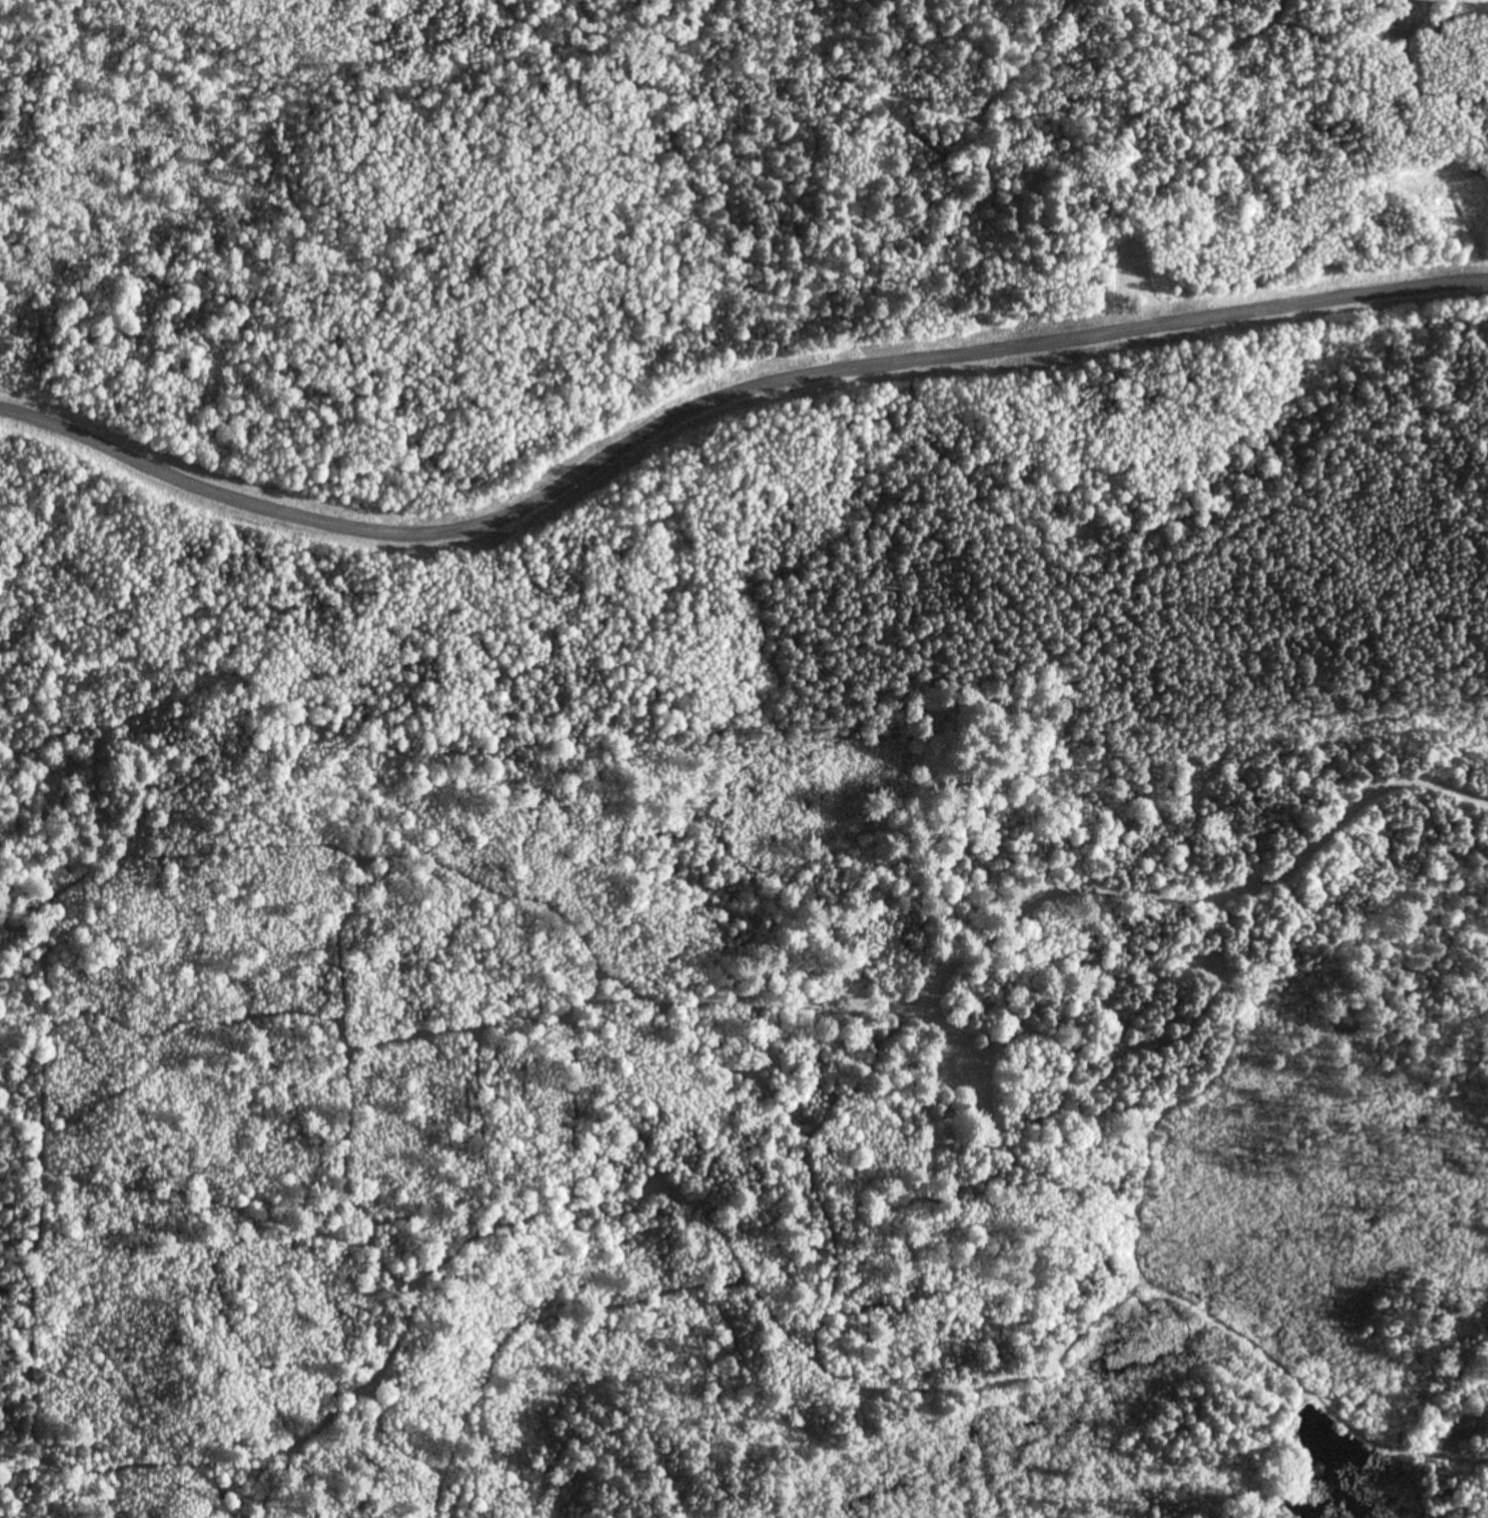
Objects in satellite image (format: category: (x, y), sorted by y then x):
road: (718, 395)

